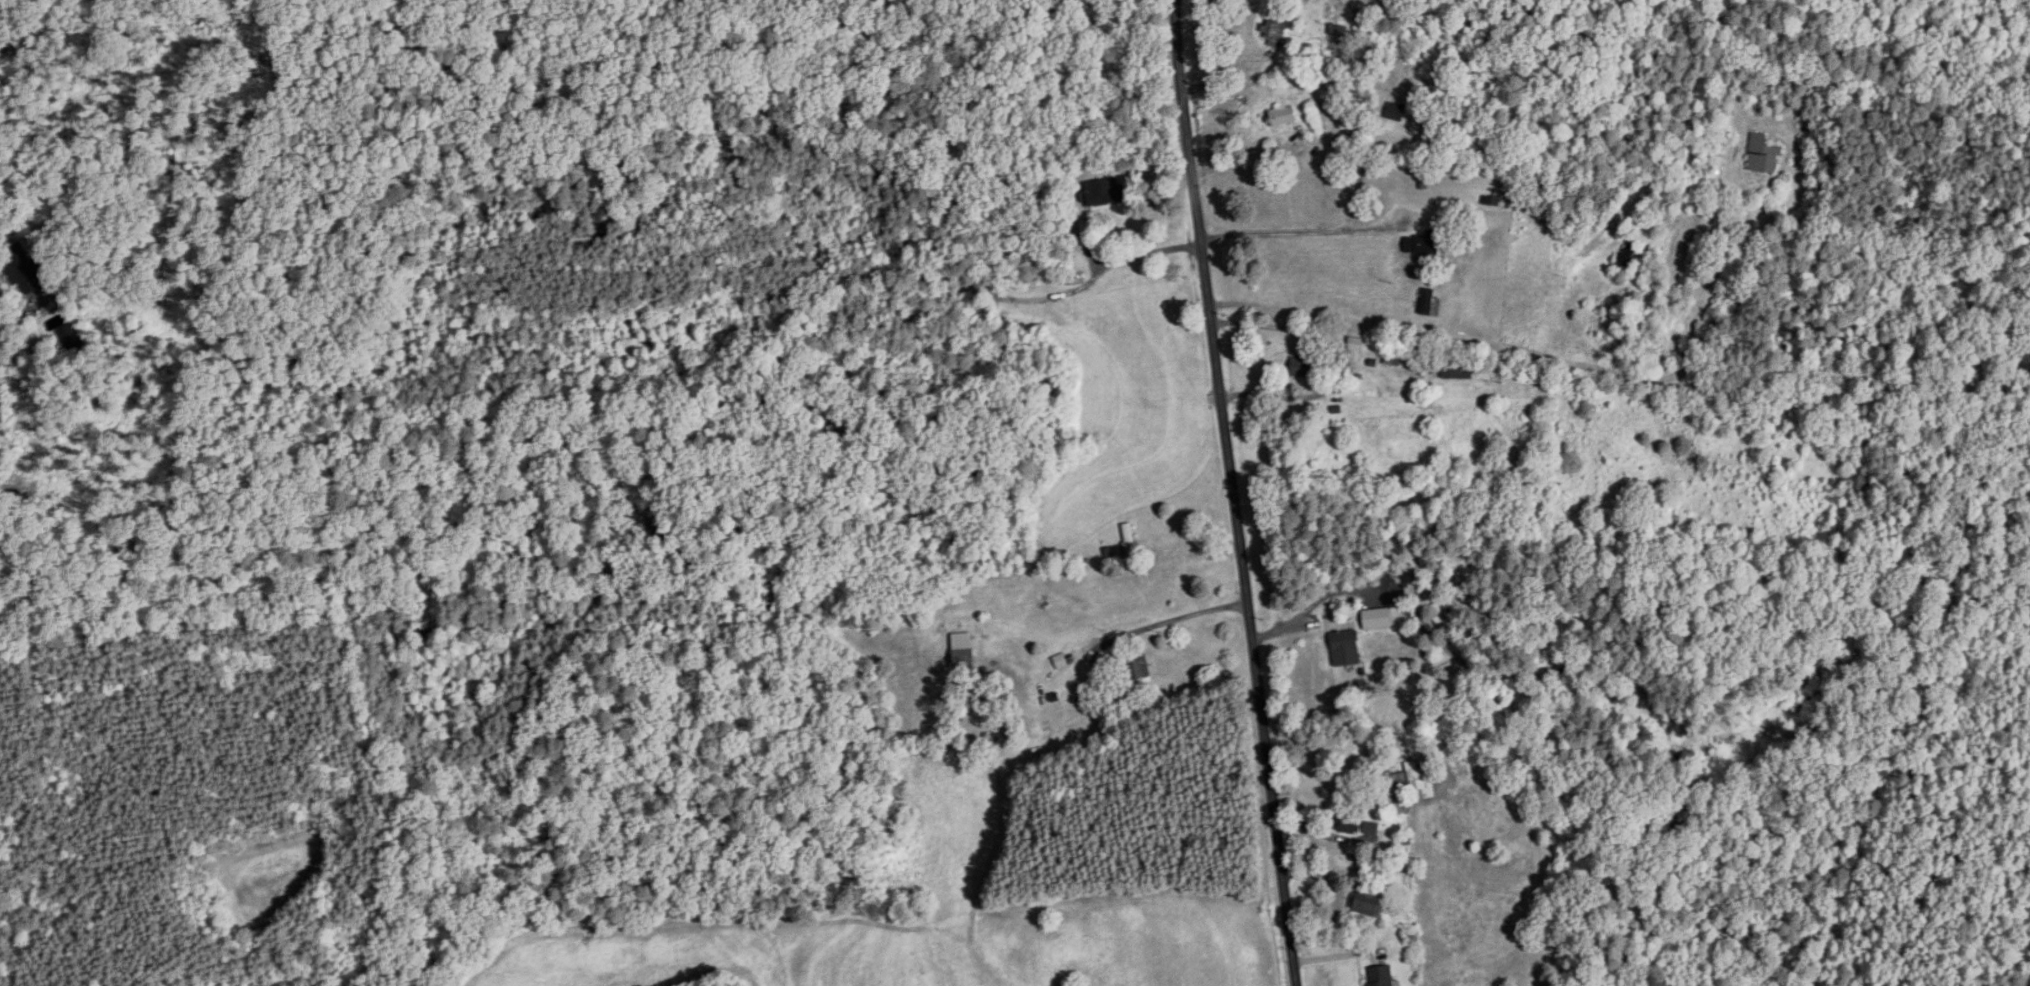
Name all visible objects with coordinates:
building: (1339, 31)
building: (1275, 33)
building: (1397, 112)
building: (1283, 116)
building: (1742, 148)
building: (1764, 155)
building: (1104, 192)
road: (1298, 233)
building: (1424, 244)
road: (1140, 254)
building: (1629, 258)
building: (23, 269)
building: (1428, 302)
road: (5, 324)
road: (1446, 336)
building: (1355, 352)
building: (1305, 362)
building: (1468, 370)
road: (1233, 493)
building: (1130, 540)
road: (1167, 622)
building: (1345, 648)
building: (964, 655)
building: (1137, 668)
building: (1414, 780)
building: (1349, 824)
building: (1368, 905)
building: (1380, 976)

